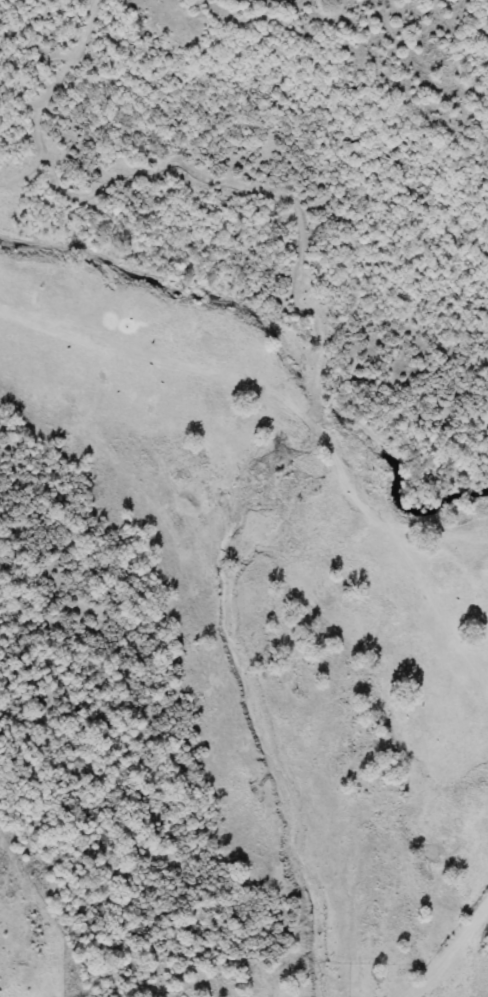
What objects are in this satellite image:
road: (449, 951)

